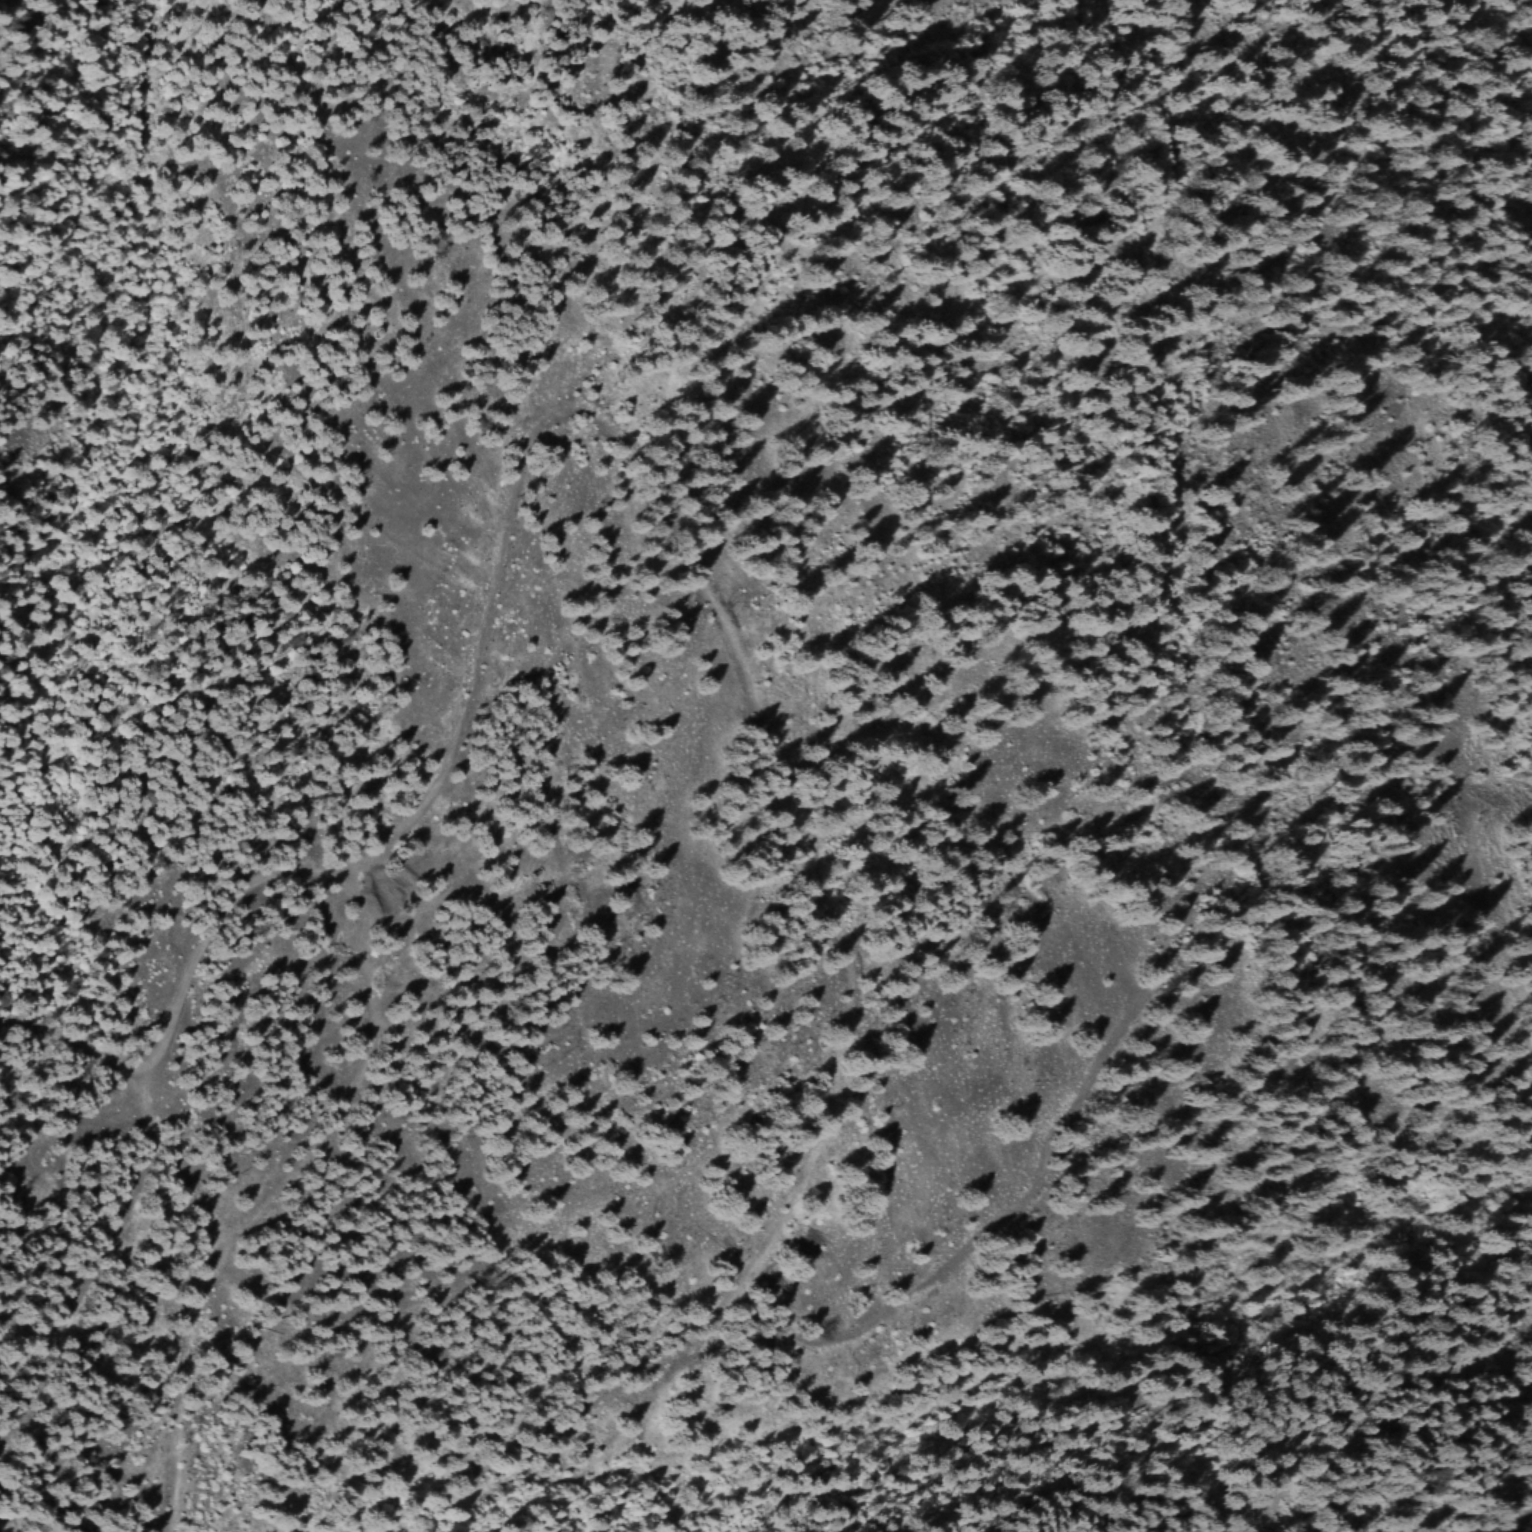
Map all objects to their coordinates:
road: (650, 541)

